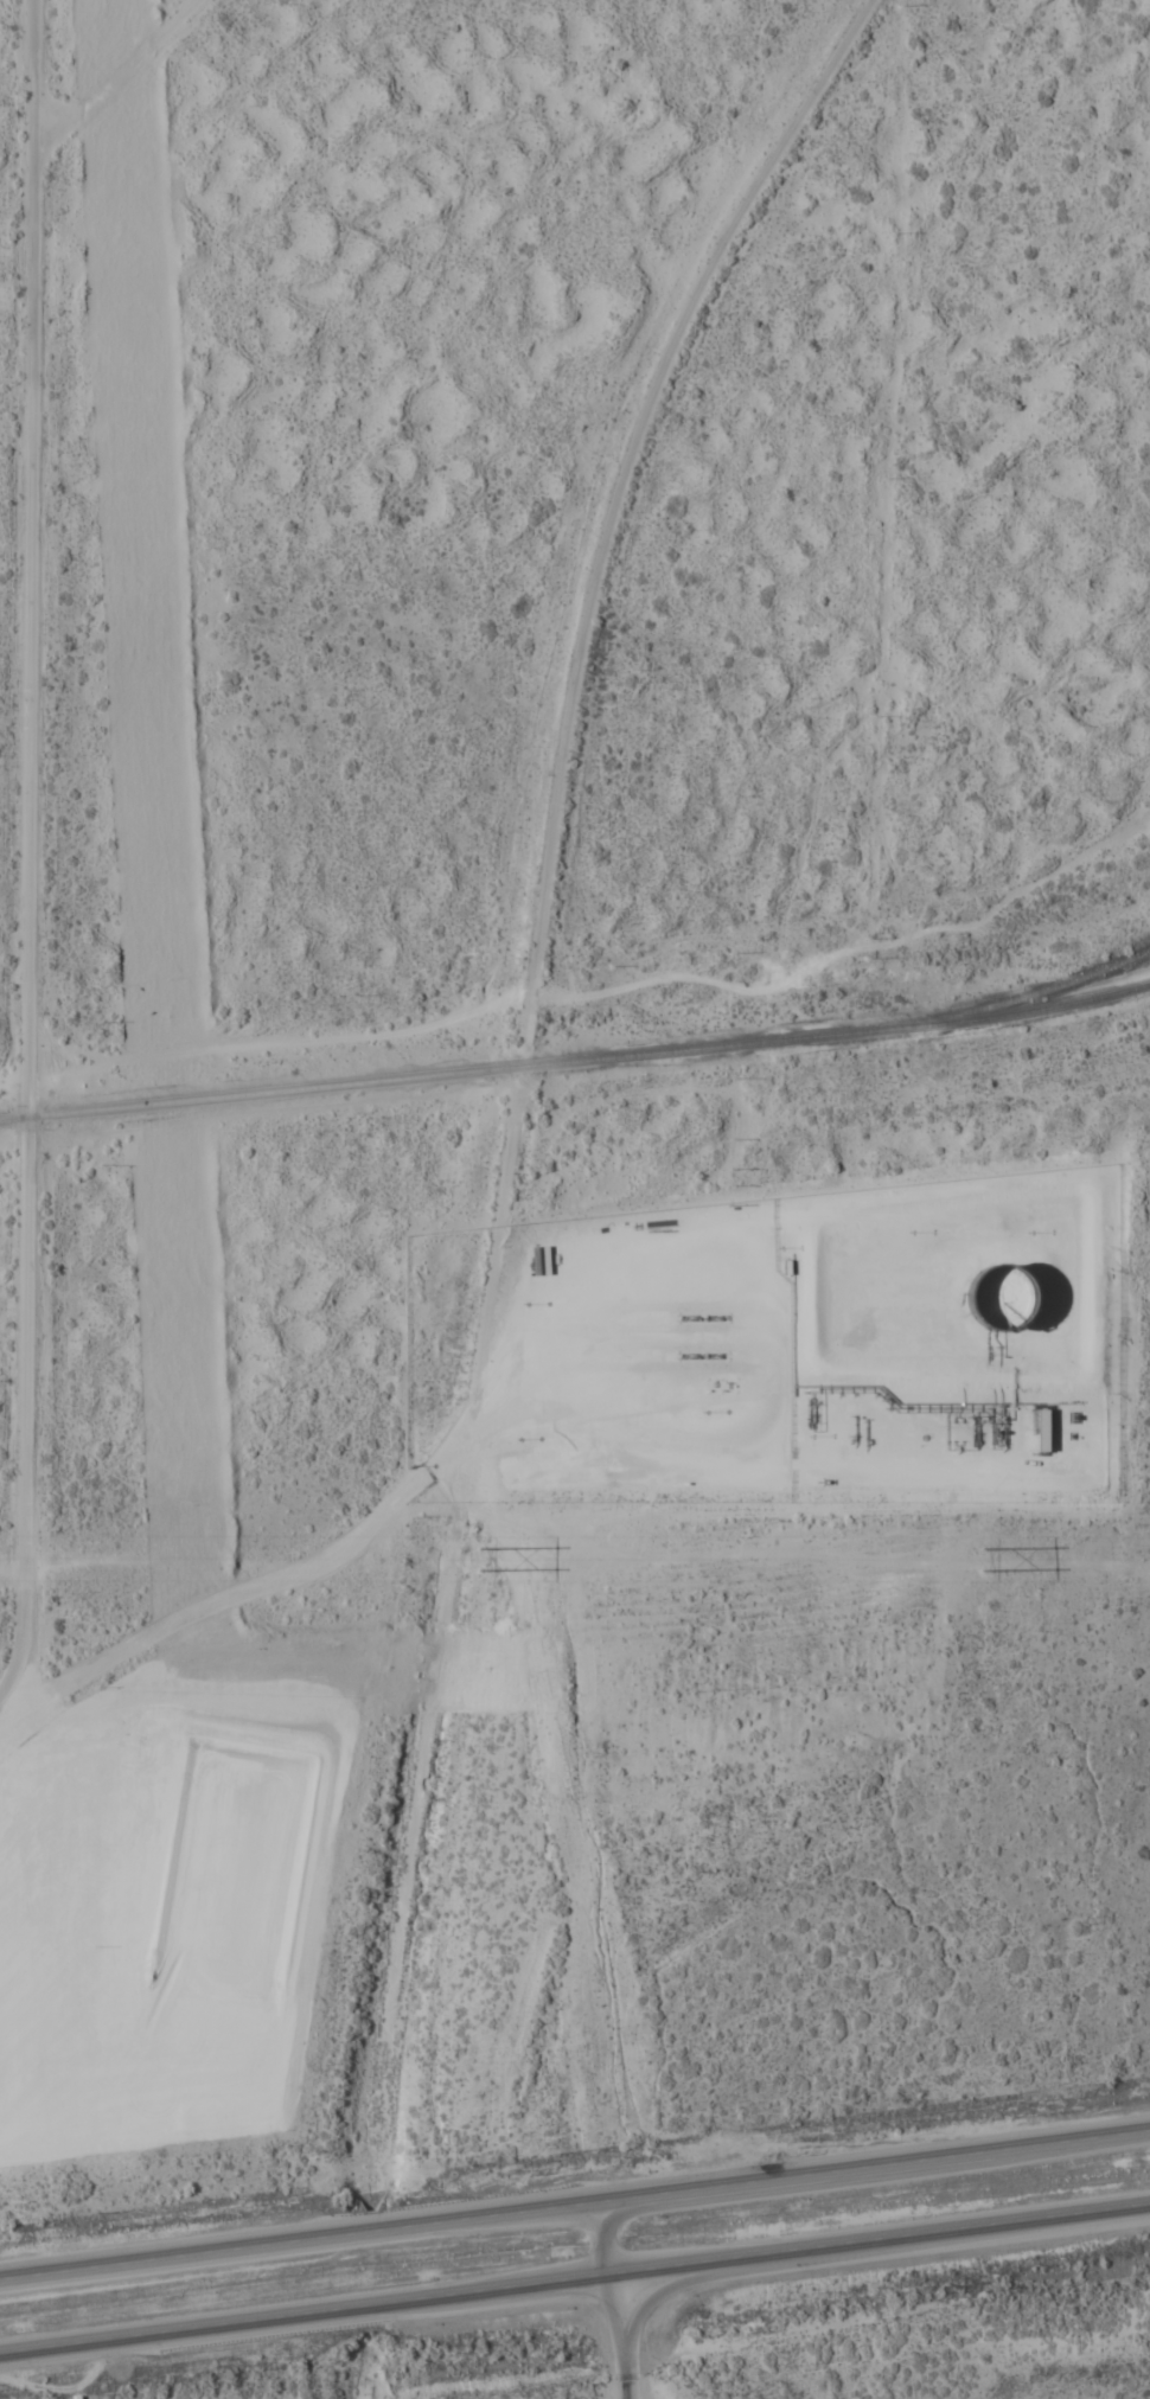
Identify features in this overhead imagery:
road: (121, 73)
road: (33, 855)
railway: (1020, 994)
railway: (576, 1060)
road: (517, 1073)
power tower: (477, 1560)
power tower: (985, 1562)
road: (575, 2203)
road: (575, 2276)
road: (612, 2299)
road: (362, 2363)

